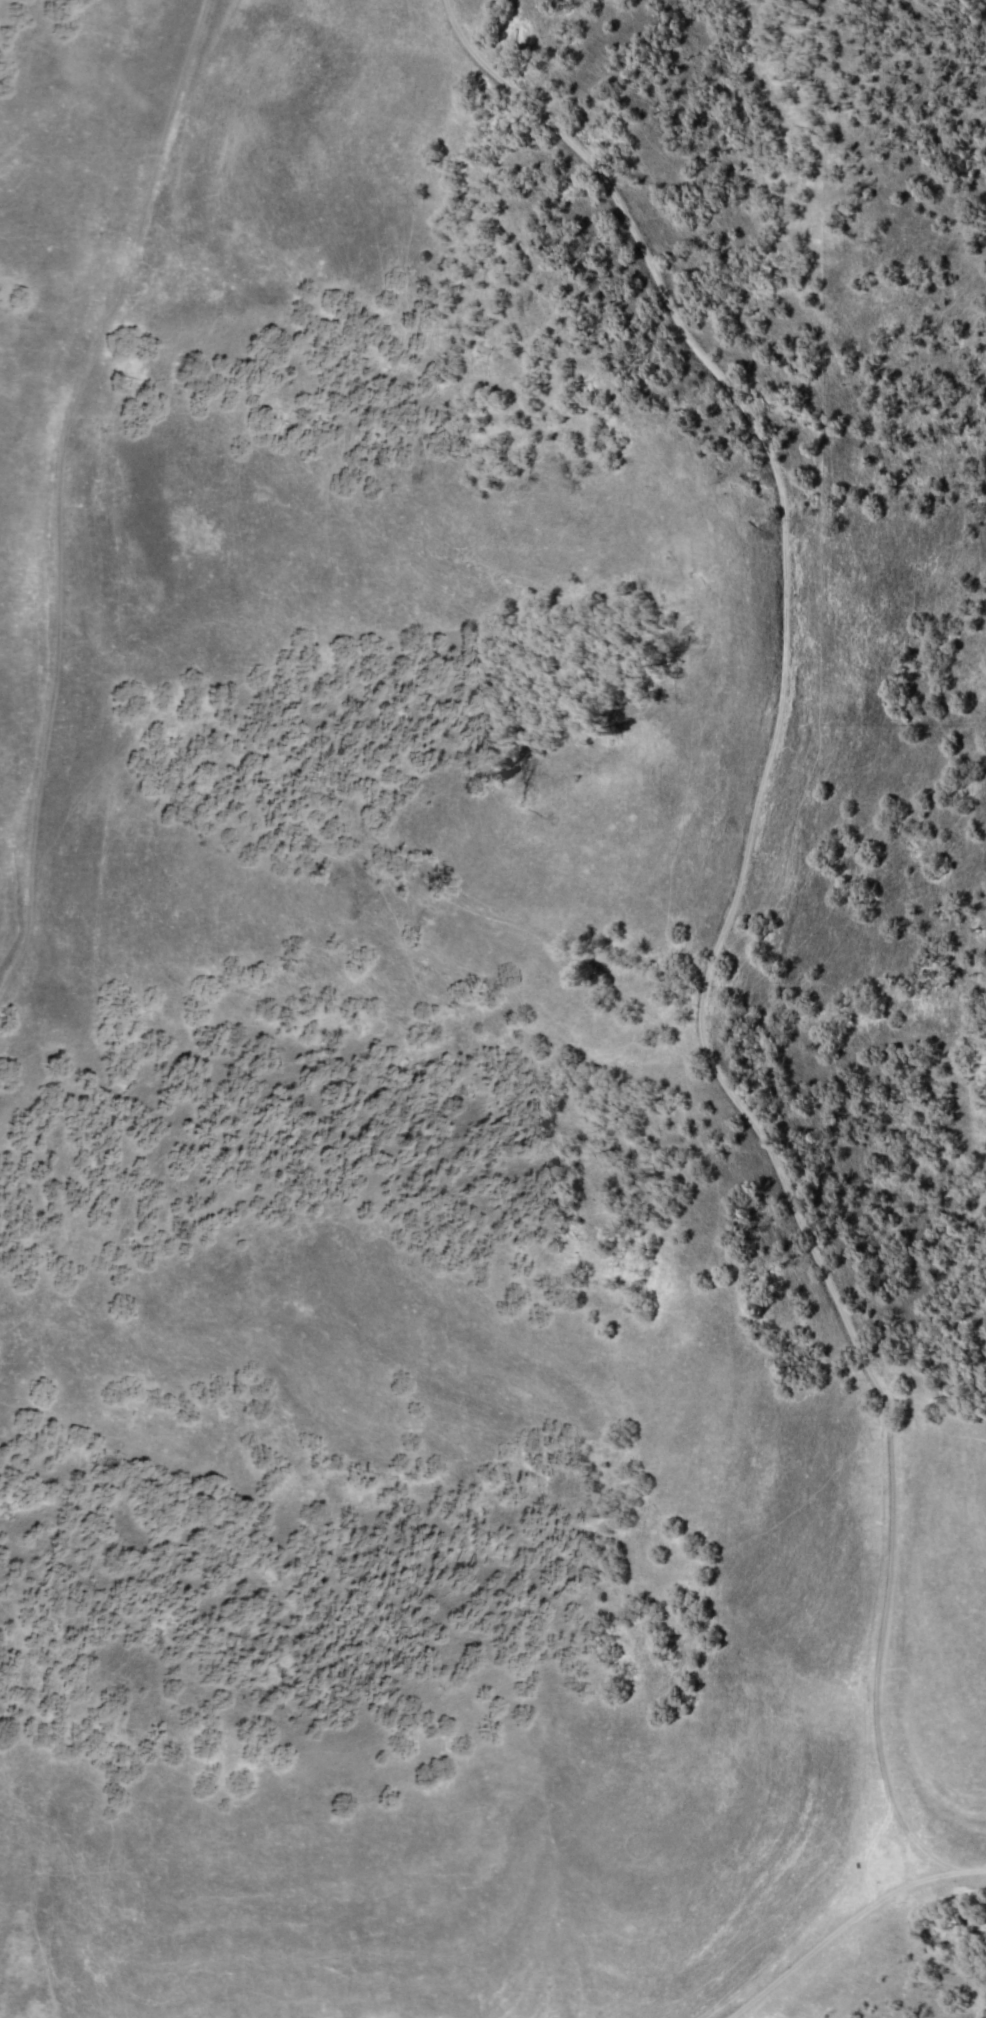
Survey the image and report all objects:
road: (845, 1925)

